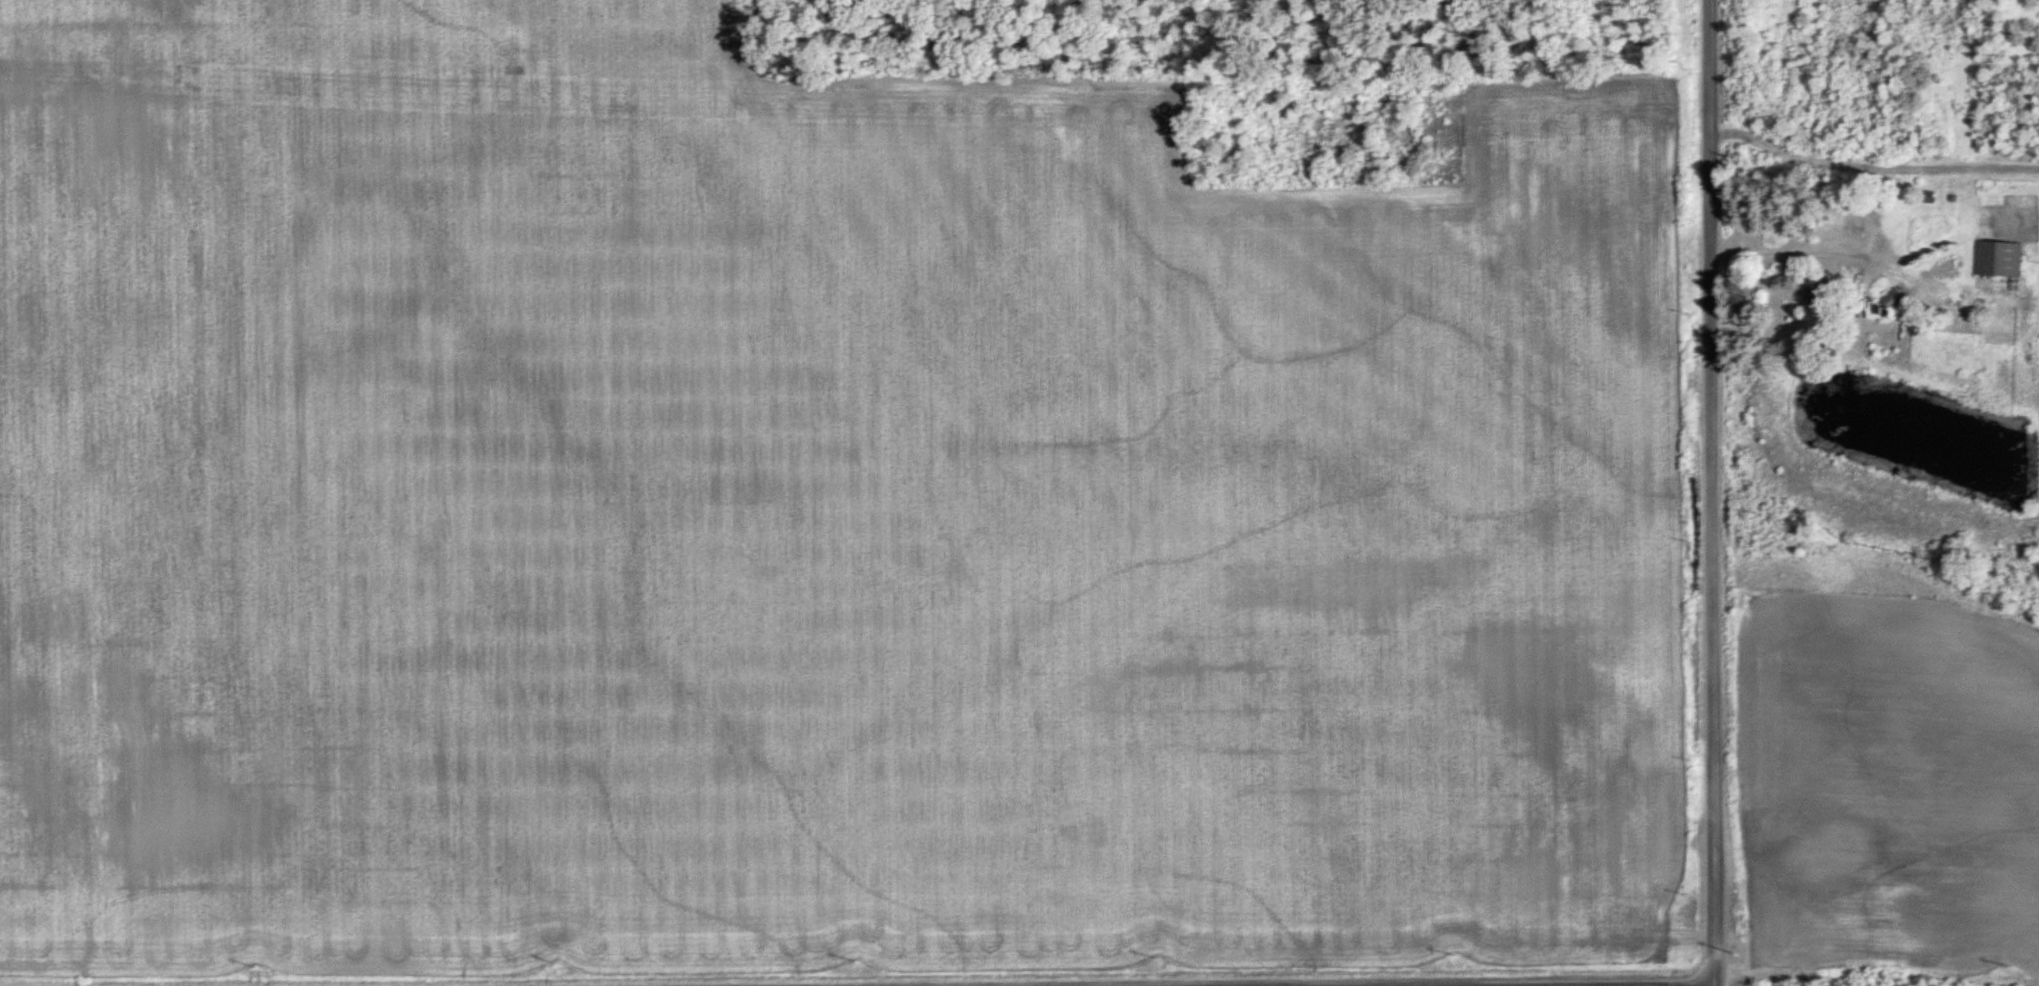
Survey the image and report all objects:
building: (1994, 257)
building: (1812, 288)
building: (1879, 302)
road: (1708, 493)

